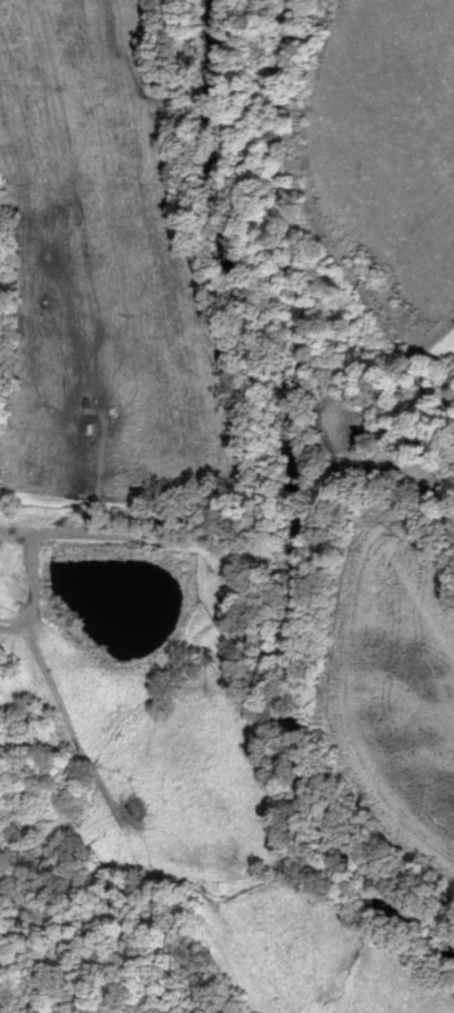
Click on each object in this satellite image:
road: (250, 552)

